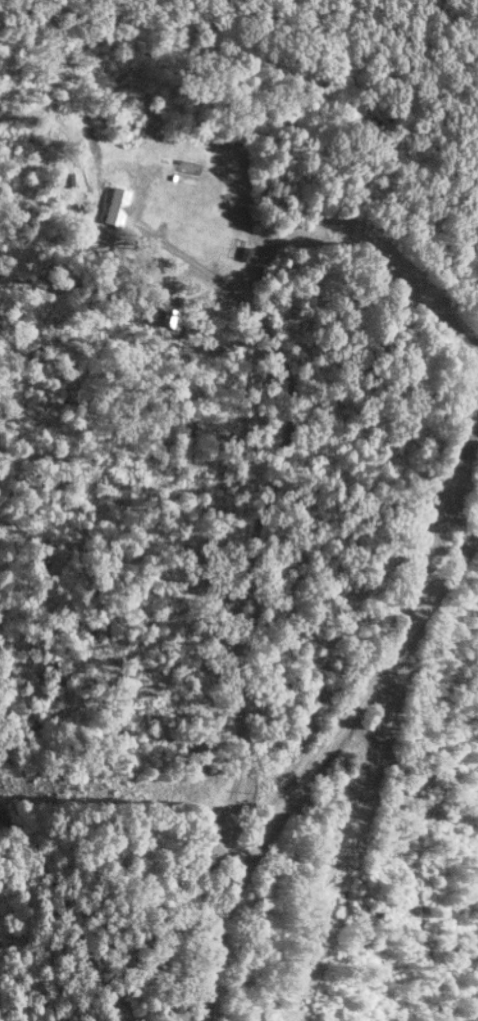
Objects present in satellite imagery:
building: (111, 248)
road: (324, 770)

